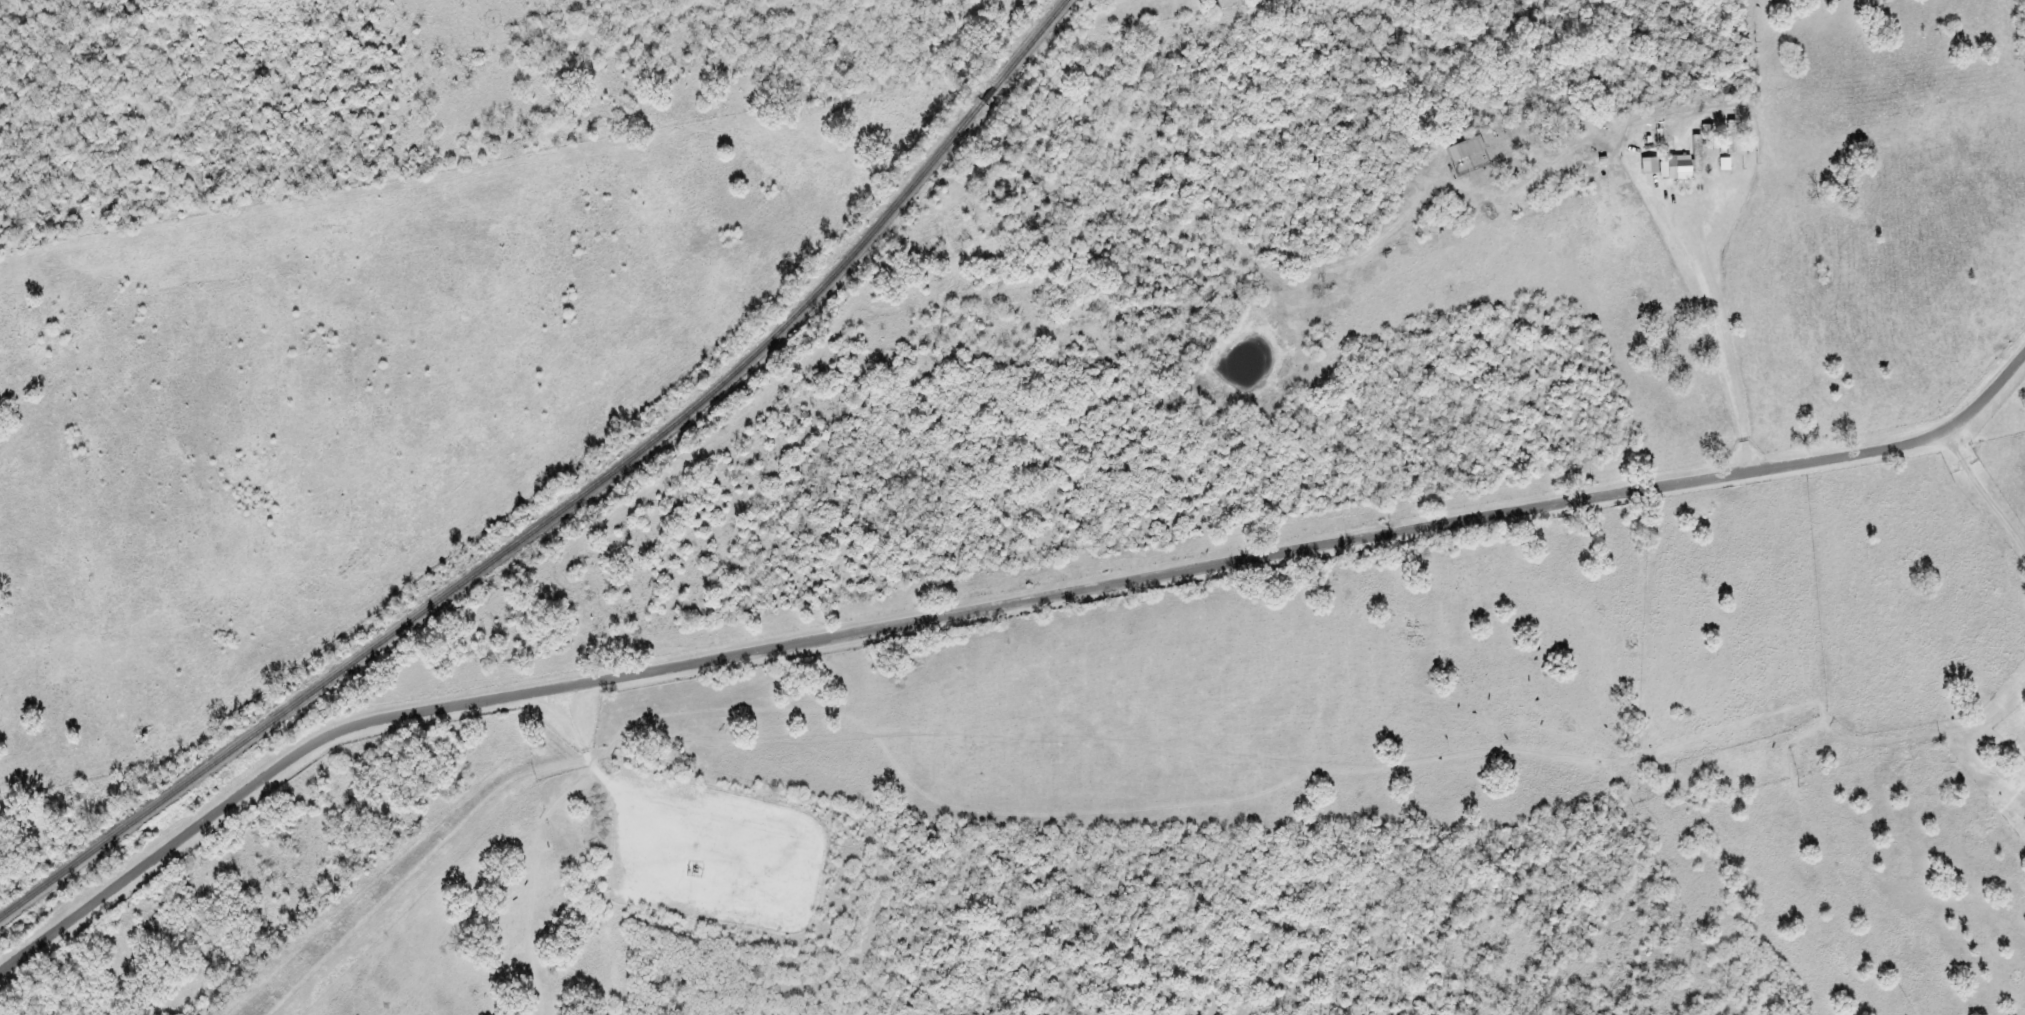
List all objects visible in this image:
building: (1466, 149)
building: (1678, 164)
building: (1725, 164)
road: (1683, 352)
railway: (571, 501)
road: (1979, 505)
road: (990, 606)
building: (2023, 767)
road: (1619, 778)

